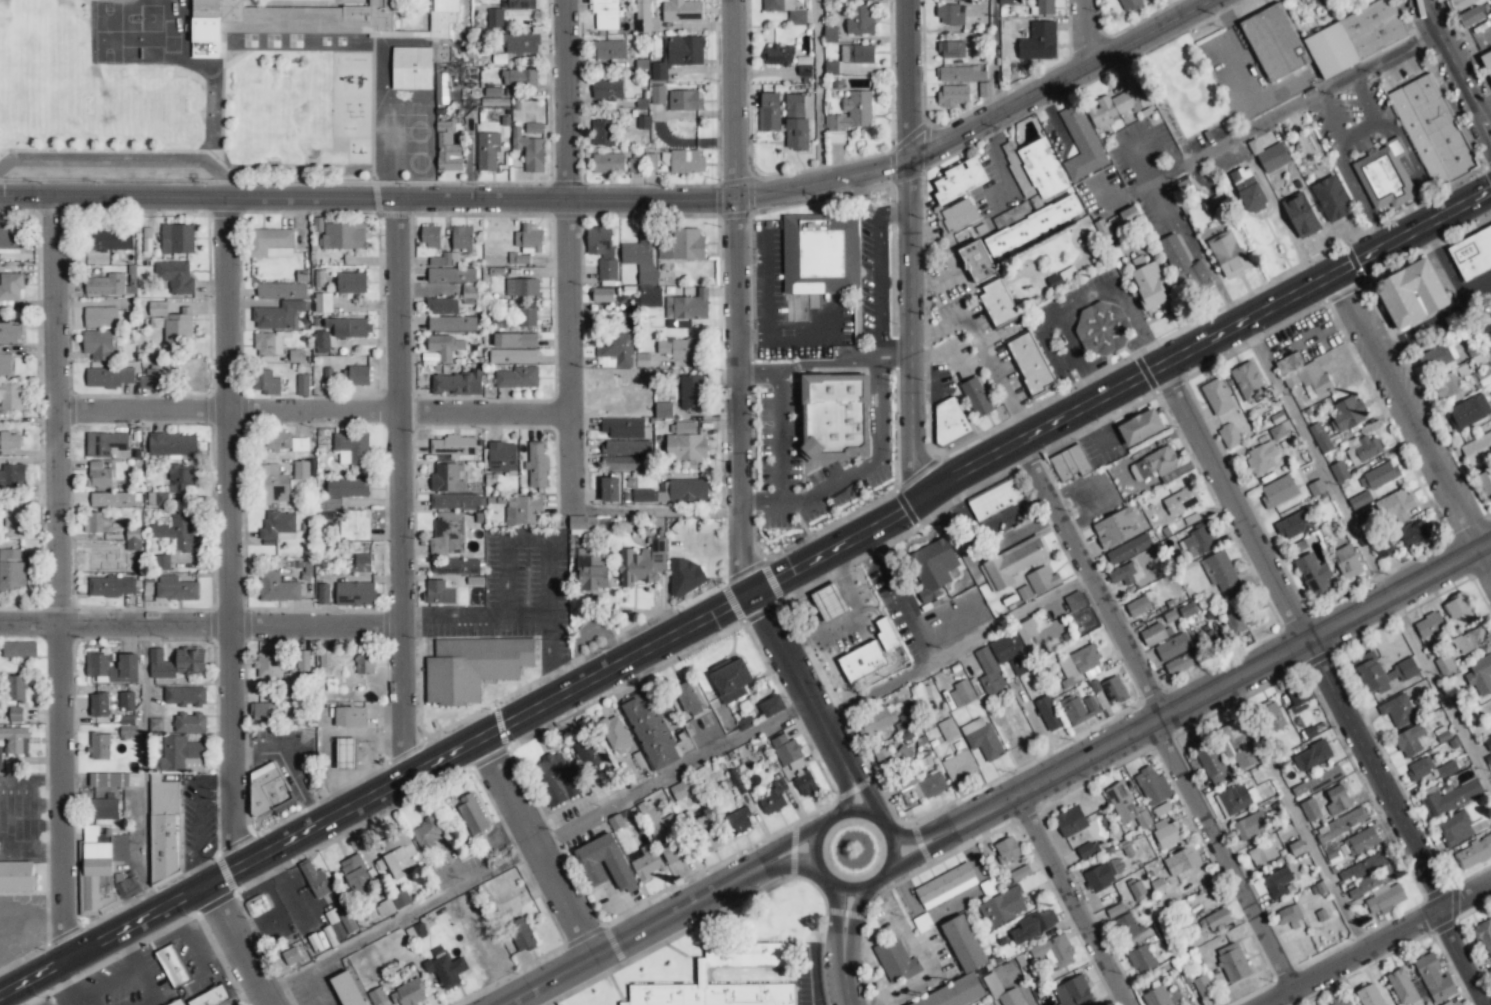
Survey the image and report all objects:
building: (1004, 2)
building: (1465, 3)
building: (517, 4)
building: (1130, 5)
building: (1045, 7)
building: (786, 10)
building: (681, 11)
building: (290, 13)
building: (605, 14)
building: (949, 14)
building: (642, 16)
building: (1471, 16)
building: (442, 17)
building: (495, 18)
building: (860, 20)
road: (1084, 32)
building: (830, 34)
building: (204, 37)
building: (1355, 37)
building: (1273, 40)
building: (1038, 42)
building: (520, 43)
road: (1471, 47)
building: (608, 49)
building: (951, 49)
building: (857, 54)
building: (678, 55)
building: (778, 55)
road: (997, 55)
building: (1487, 61)
building: (411, 68)
building: (831, 68)
road: (1456, 68)
road: (1250, 71)
building: (960, 74)
building: (519, 77)
building: (441, 88)
building: (607, 89)
road: (817, 90)
building: (657, 94)
building: (952, 95)
building: (685, 100)
road: (1365, 101)
building: (1118, 103)
park: (280, 108)
building: (768, 112)
building: (850, 116)
road: (1330, 121)
building: (795, 123)
road: (1268, 124)
building: (533, 128)
road: (1356, 130)
building: (1433, 131)
building: (602, 133)
building: (1082, 143)
building: (447, 148)
building: (487, 150)
building: (529, 151)
building: (1273, 157)
building: (683, 161)
road: (1005, 161)
building: (607, 163)
road: (1414, 163)
building: (1037, 167)
building: (1384, 176)
building: (959, 180)
building: (1247, 189)
road: (857, 194)
road: (624, 197)
road: (1360, 197)
building: (1331, 198)
building: (1214, 206)
road: (891, 207)
building: (959, 215)
building: (1012, 215)
building: (1301, 215)
building: (1126, 216)
building: (1031, 226)
building: (342, 236)
building: (430, 236)
building: (177, 238)
building: (461, 238)
building: (110, 239)
building: (528, 239)
building: (598, 241)
building: (272, 243)
building: (682, 245)
road: (910, 247)
road: (1200, 252)
building: (821, 253)
building: (1227, 253)
building: (1473, 253)
road: (567, 255)
building: (641, 257)
building: (444, 260)
building: (977, 261)
building: (1185, 266)
building: (607, 270)
building: (451, 274)
building: (175, 276)
building: (301, 276)
building: (351, 282)
road: (764, 284)
building: (105, 285)
road: (873, 285)
building: (1149, 285)
building: (521, 287)
building: (9, 289)
building: (281, 290)
road: (1458, 291)
building: (468, 294)
building: (1411, 294)
building: (602, 295)
building: (649, 296)
road: (737, 296)
building: (322, 302)
building: (998, 302)
building: (441, 306)
building: (687, 306)
building: (804, 306)
building: (278, 315)
building: (527, 316)
building: (100, 317)
road: (1483, 320)
building: (173, 323)
building: (452, 323)
building: (1102, 328)
building: (340, 331)
building: (11, 332)
road: (792, 334)
road: (745, 335)
building: (515, 340)
building: (268, 344)
building: (98, 345)
building: (444, 346)
building: (680, 348)
building: (614, 349)
road: (985, 349)
road: (1490, 354)
building: (296, 355)
building: (1436, 355)
building: (512, 356)
road: (893, 356)
building: (5, 364)
building: (1031, 364)
building: (1286, 364)
road: (758, 367)
building: (355, 376)
building: (108, 377)
building: (517, 377)
building: (153, 379)
building: (1313, 379)
building: (1248, 381)
building: (266, 382)
building: (456, 383)
building: (302, 384)
road: (779, 385)
building: (1448, 388)
building: (691, 391)
building: (1216, 395)
building: (11, 397)
building: (976, 398)
road: (313, 409)
building: (663, 410)
building: (1468, 412)
building: (1348, 413)
building: (834, 416)
building: (949, 420)
road: (1413, 420)
building: (682, 427)
building: (1142, 427)
building: (1229, 435)
building: (1320, 438)
building: (10, 441)
building: (284, 442)
building: (172, 444)
building: (107, 445)
building: (453, 445)
building: (626, 447)
building: (351, 448)
building: (686, 448)
building: (1363, 449)
building: (1477, 449)
building: (501, 456)
building: (1261, 457)
road: (874, 459)
road: (1315, 460)
building: (625, 463)
building: (1070, 463)
building: (536, 464)
building: (1157, 465)
building: (1339, 471)
building: (12, 475)
building: (98, 475)
building: (180, 478)
building: (446, 478)
building: (283, 481)
building: (1373, 482)
building: (1485, 483)
road: (398, 486)
building: (346, 487)
building: (1317, 487)
building: (609, 489)
building: (683, 491)
building: (1279, 492)
building: (642, 495)
building: (112, 499)
building: (156, 499)
building: (995, 499)
road: (760, 500)
building: (1181, 500)
building: (454, 501)
building: (330, 503)
building: (1396, 507)
building: (526, 508)
road: (655, 514)
building: (13, 521)
building: (97, 522)
building: (582, 523)
building: (354, 525)
building: (1294, 525)
building: (277, 527)
building: (1115, 528)
building: (1416, 532)
building: (177, 533)
road: (228, 533)
building: (447, 533)
building: (132, 538)
road: (534, 541)
building: (1197, 541)
building: (1383, 548)
building: (1128, 549)
building: (161, 562)
building: (1012, 562)
building: (1346, 562)
building: (362, 563)
building: (641, 564)
building: (454, 566)
building: (933, 567)
building: (12, 570)
building: (591, 571)
building: (1220, 571)
building: (1313, 574)
building: (686, 575)
road: (1096, 575)
building: (1122, 575)
road: (59, 580)
building: (1042, 580)
building: (111, 586)
building: (175, 588)
building: (278, 588)
building: (438, 592)
building: (322, 593)
road: (745, 593)
building: (354, 594)
road: (899, 594)
building: (1074, 601)
building: (829, 602)
building: (1137, 606)
building: (1457, 606)
road: (514, 612)
building: (1240, 621)
road: (200, 624)
building: (1429, 625)
building: (1026, 630)
road: (1310, 633)
building: (1154, 634)
building: (1470, 640)
road: (956, 646)
building: (1172, 647)
building: (20, 650)
building: (869, 654)
building: (1011, 654)
building: (302, 660)
building: (189, 661)
building: (1079, 662)
building: (325, 663)
building: (1182, 663)
building: (1444, 663)
building: (364, 664)
building: (159, 665)
building: (268, 665)
building: (113, 666)
building: (473, 666)
building: (1405, 669)
building: (989, 672)
building: (1370, 672)
building: (1480, 676)
building: (730, 679)
road: (798, 682)
building: (15, 688)
building: (1113, 689)
road: (1212, 690)
building: (961, 694)
building: (184, 695)
road: (1438, 696)
building: (688, 698)
building: (1296, 699)
building: (126, 700)
building: (99, 705)
building: (771, 705)
building: (1079, 708)
building: (263, 710)
building: (1398, 710)
building: (1048, 713)
building: (15, 714)
building: (1272, 715)
building: (349, 717)
building: (126, 720)
building: (883, 721)
building: (190, 722)
building: (947, 729)
building: (128, 731)
building: (654, 731)
building: (615, 735)
building: (981, 738)
building: (15, 739)
building: (1409, 741)
building: (1488, 742)
building: (1238, 744)
building: (99, 746)
building: (785, 749)
building: (346, 753)
building: (178, 754)
building: (1312, 755)
building: (589, 756)
building: (884, 756)
building: (1, 758)
building: (1210, 760)
road: (289, 762)
building: (959, 765)
building: (1420, 768)
building: (555, 777)
building: (108, 780)
building: (1318, 781)
building: (805, 784)
building: (929, 786)
building: (267, 788)
building: (680, 790)
building: (1154, 790)
road: (844, 793)
road: (861, 796)
building: (1450, 798)
building: (1237, 799)
building: (1338, 799)
building: (772, 801)
building: (1125, 806)
building: (105, 809)
building: (1310, 810)
building: (472, 815)
road: (1297, 818)
building: (739, 821)
building: (1070, 821)
building: (1346, 821)
building: (1250, 825)
building: (662, 826)
building: (1457, 828)
building: (165, 831)
building: (90, 833)
building: (426, 833)
building: (704, 834)
building: (1168, 834)
road: (909, 838)
building: (1358, 843)
road: (794, 845)
building: (120, 847)
road: (531, 848)
building: (673, 850)
building: (1088, 850)
building: (1005, 852)
road: (522, 853)
building: (1262, 853)
building: (1473, 853)
road: (1229, 855)
road: (908, 856)
building: (1181, 861)
building: (401, 862)
building: (589, 862)
building: (647, 862)
road: (794, 862)
building: (1363, 867)
road: (883, 871)
building: (1020, 873)
building: (355, 874)
building: (16, 876)
building: (1102, 876)
building: (103, 880)
building: (315, 880)
building: (1277, 882)
building: (1370, 882)
building: (945, 885)
building: (1137, 890)
building: (1384, 898)
road: (1076, 899)
building: (392, 904)
road: (837, 904)
building: (257, 905)
building: (1002, 907)
road: (853, 910)
building: (1115, 910)
building: (1288, 914)
building: (1214, 920)
building: (340, 922)
building: (1033, 926)
building: (1126, 926)
building: (1163, 931)
building: (416, 932)
road: (637, 933)
building: (522, 934)
road: (843, 936)
building: (1485, 936)
road: (242, 943)
building: (963, 943)
road: (1383, 946)
building: (1054, 950)
road: (920, 954)
building: (291, 956)
building: (1141, 959)
building: (895, 960)
road: (1461, 961)
building: (1233, 962)
building: (172, 965)
building: (445, 968)
road: (845, 974)
building: (701, 975)
road: (804, 978)
building: (1434, 979)
building: (1401, 986)
building: (1203, 987)
building: (347, 989)
building: (1072, 992)
building: (408, 993)
building: (954, 994)
building: (1369, 995)
building: (211, 997)
building: (1013, 997)
building: (1156, 997)
building: (1341, 1000)
road: (1026, 1001)
building: (1452, 1002)
building: (178, 1003)

